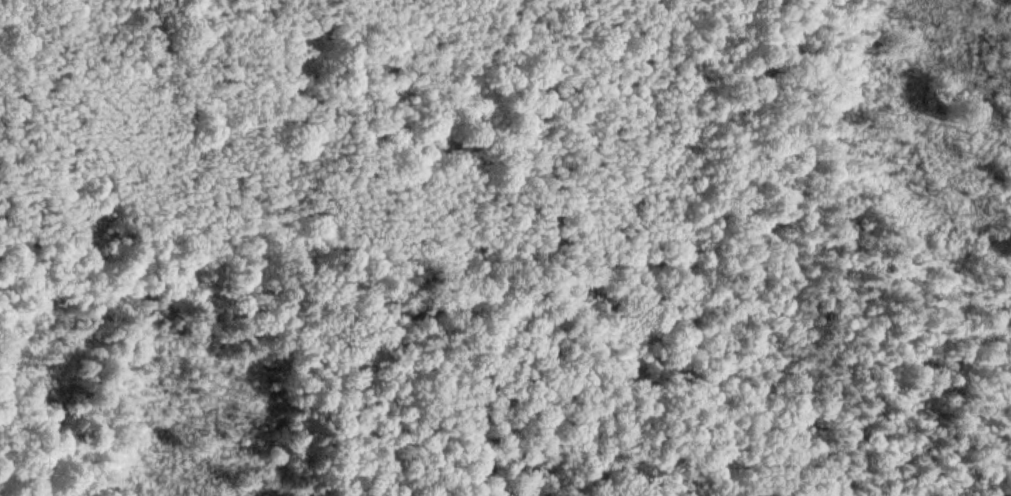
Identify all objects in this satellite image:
road: (738, 249)

